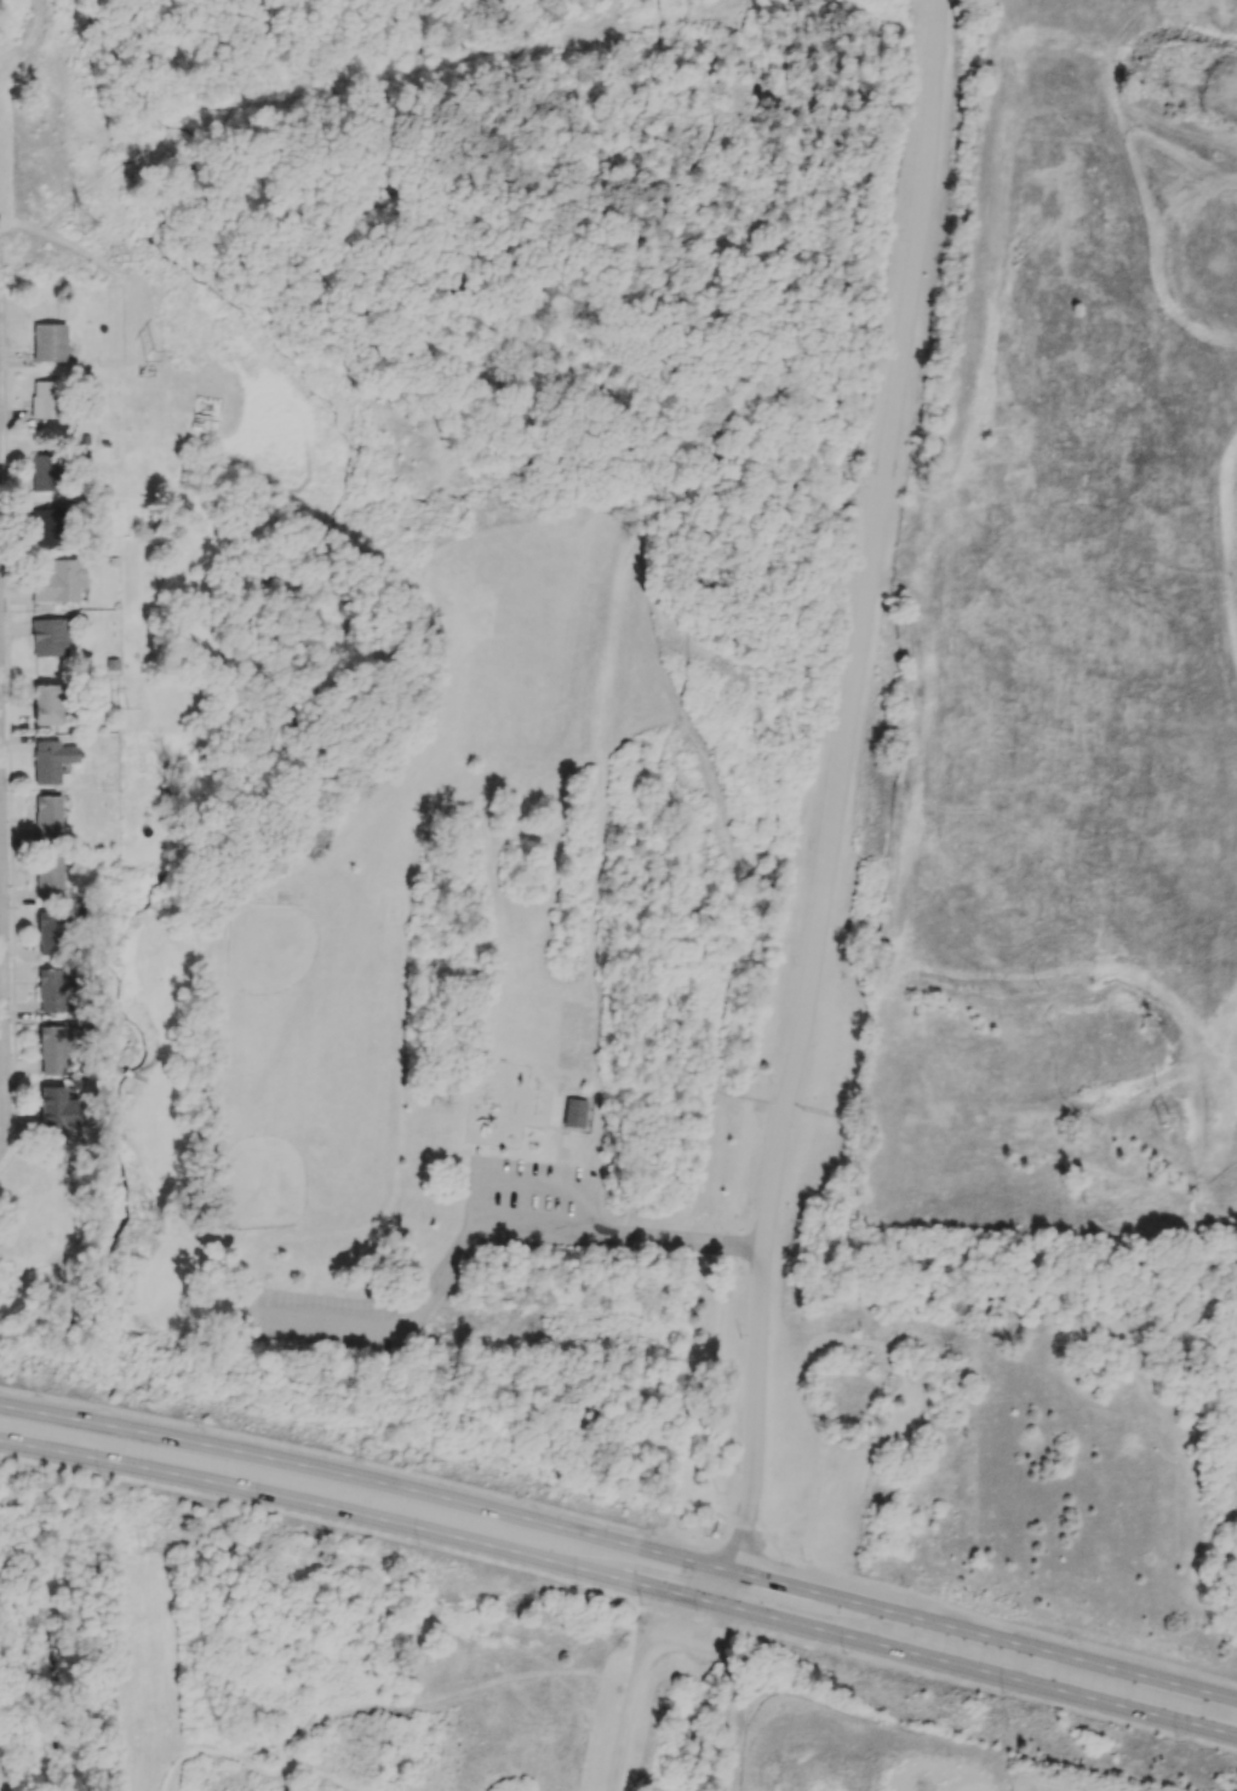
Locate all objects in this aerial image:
road: (471, 33)
road: (24, 40)
road: (229, 97)
road: (197, 109)
road: (170, 122)
road: (162, 137)
road: (113, 160)
road: (280, 183)
road: (680, 221)
power tower: (85, 223)
power tower: (130, 263)
building: (48, 342)
road: (617, 345)
power tower: (148, 354)
road: (592, 376)
building: (42, 399)
road: (675, 445)
road: (672, 446)
building: (44, 471)
road: (797, 491)
building: (178, 503)
road: (704, 503)
building: (45, 527)
road: (875, 554)
building: (57, 580)
building: (48, 635)
building: (46, 703)
power tower: (130, 704)
building: (137, 706)
road: (10, 714)
power tower: (766, 736)
building: (50, 760)
power tower: (741, 789)
building: (47, 816)
building: (47, 876)
road: (648, 889)
building: (50, 932)
park: (293, 967)
building: (50, 989)
power tower: (1138, 1022)
building: (50, 1049)
road: (0, 1060)
road: (128, 1072)
building: (55, 1112)
building: (578, 1114)
power tower: (1162, 1123)
road: (115, 1137)
road: (559, 1158)
park: (284, 1162)
road: (520, 1184)
parking lot: (528, 1197)
power tower: (148, 1215)
road: (486, 1232)
parking lot: (325, 1320)
road: (756, 1355)
road: (620, 1541)
power tower: (145, 1547)
road: (620, 1578)
road: (638, 1659)
crop: (837, 1752)

